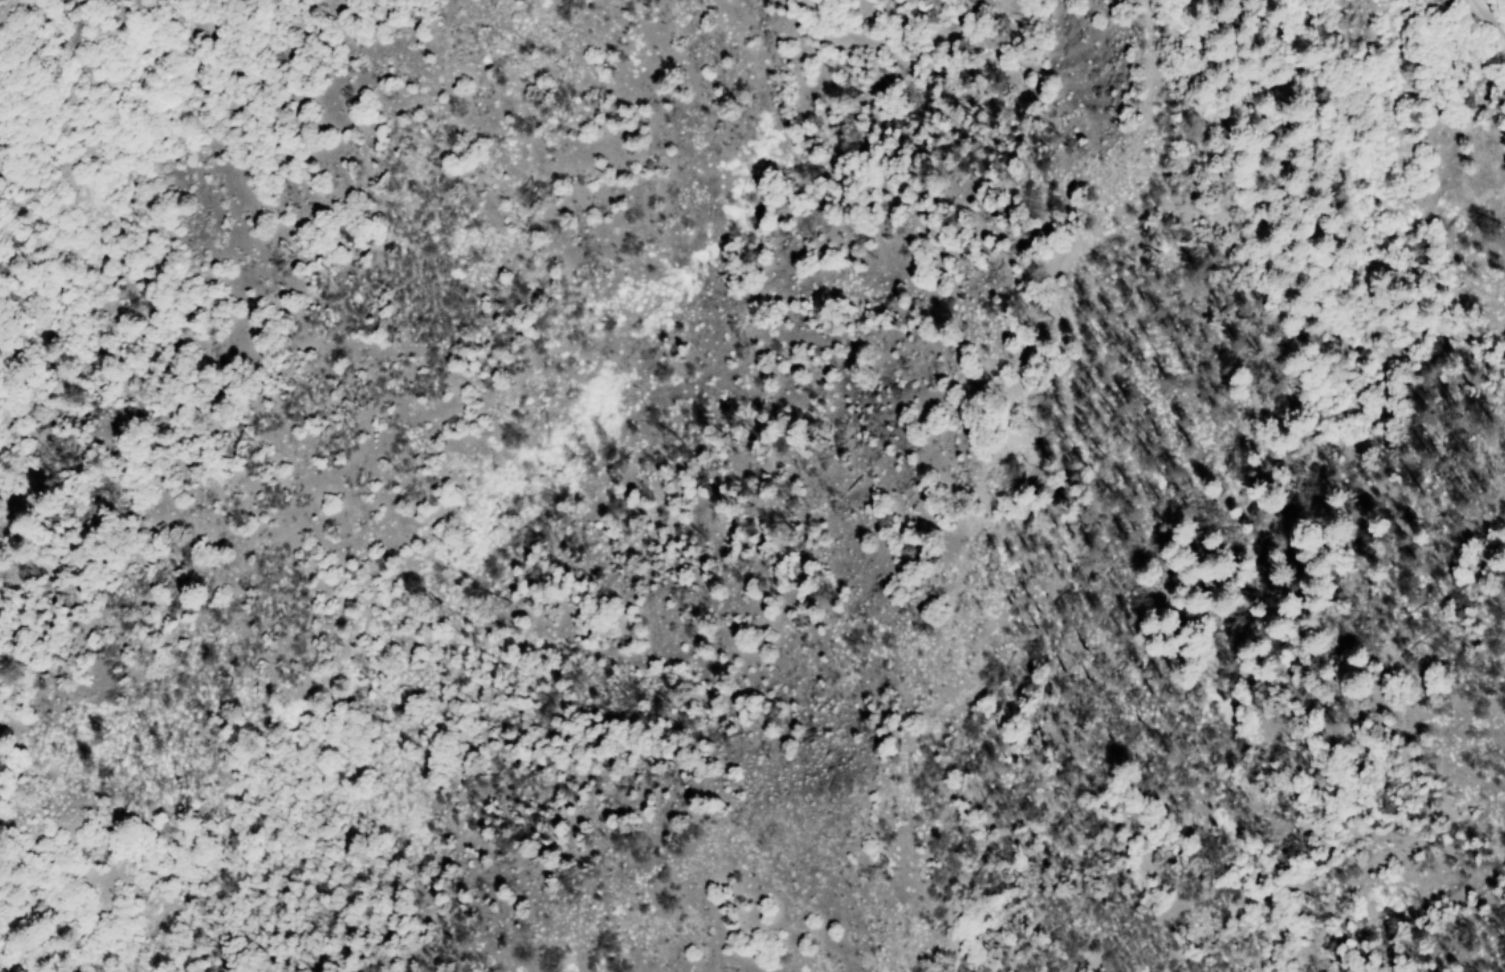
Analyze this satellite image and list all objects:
road: (1477, 23)

